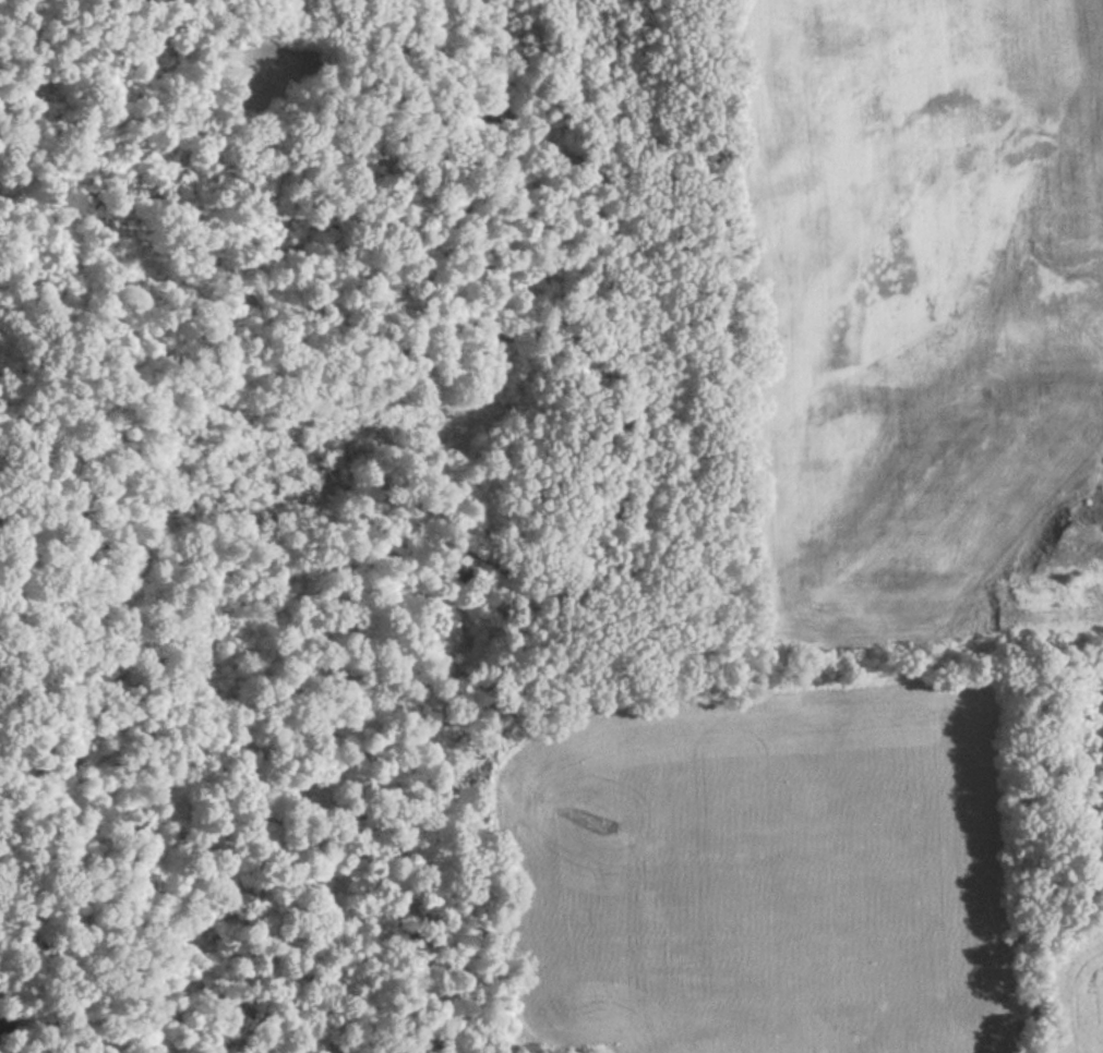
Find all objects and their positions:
quarry: (918, 331)
building: (5, 1024)

